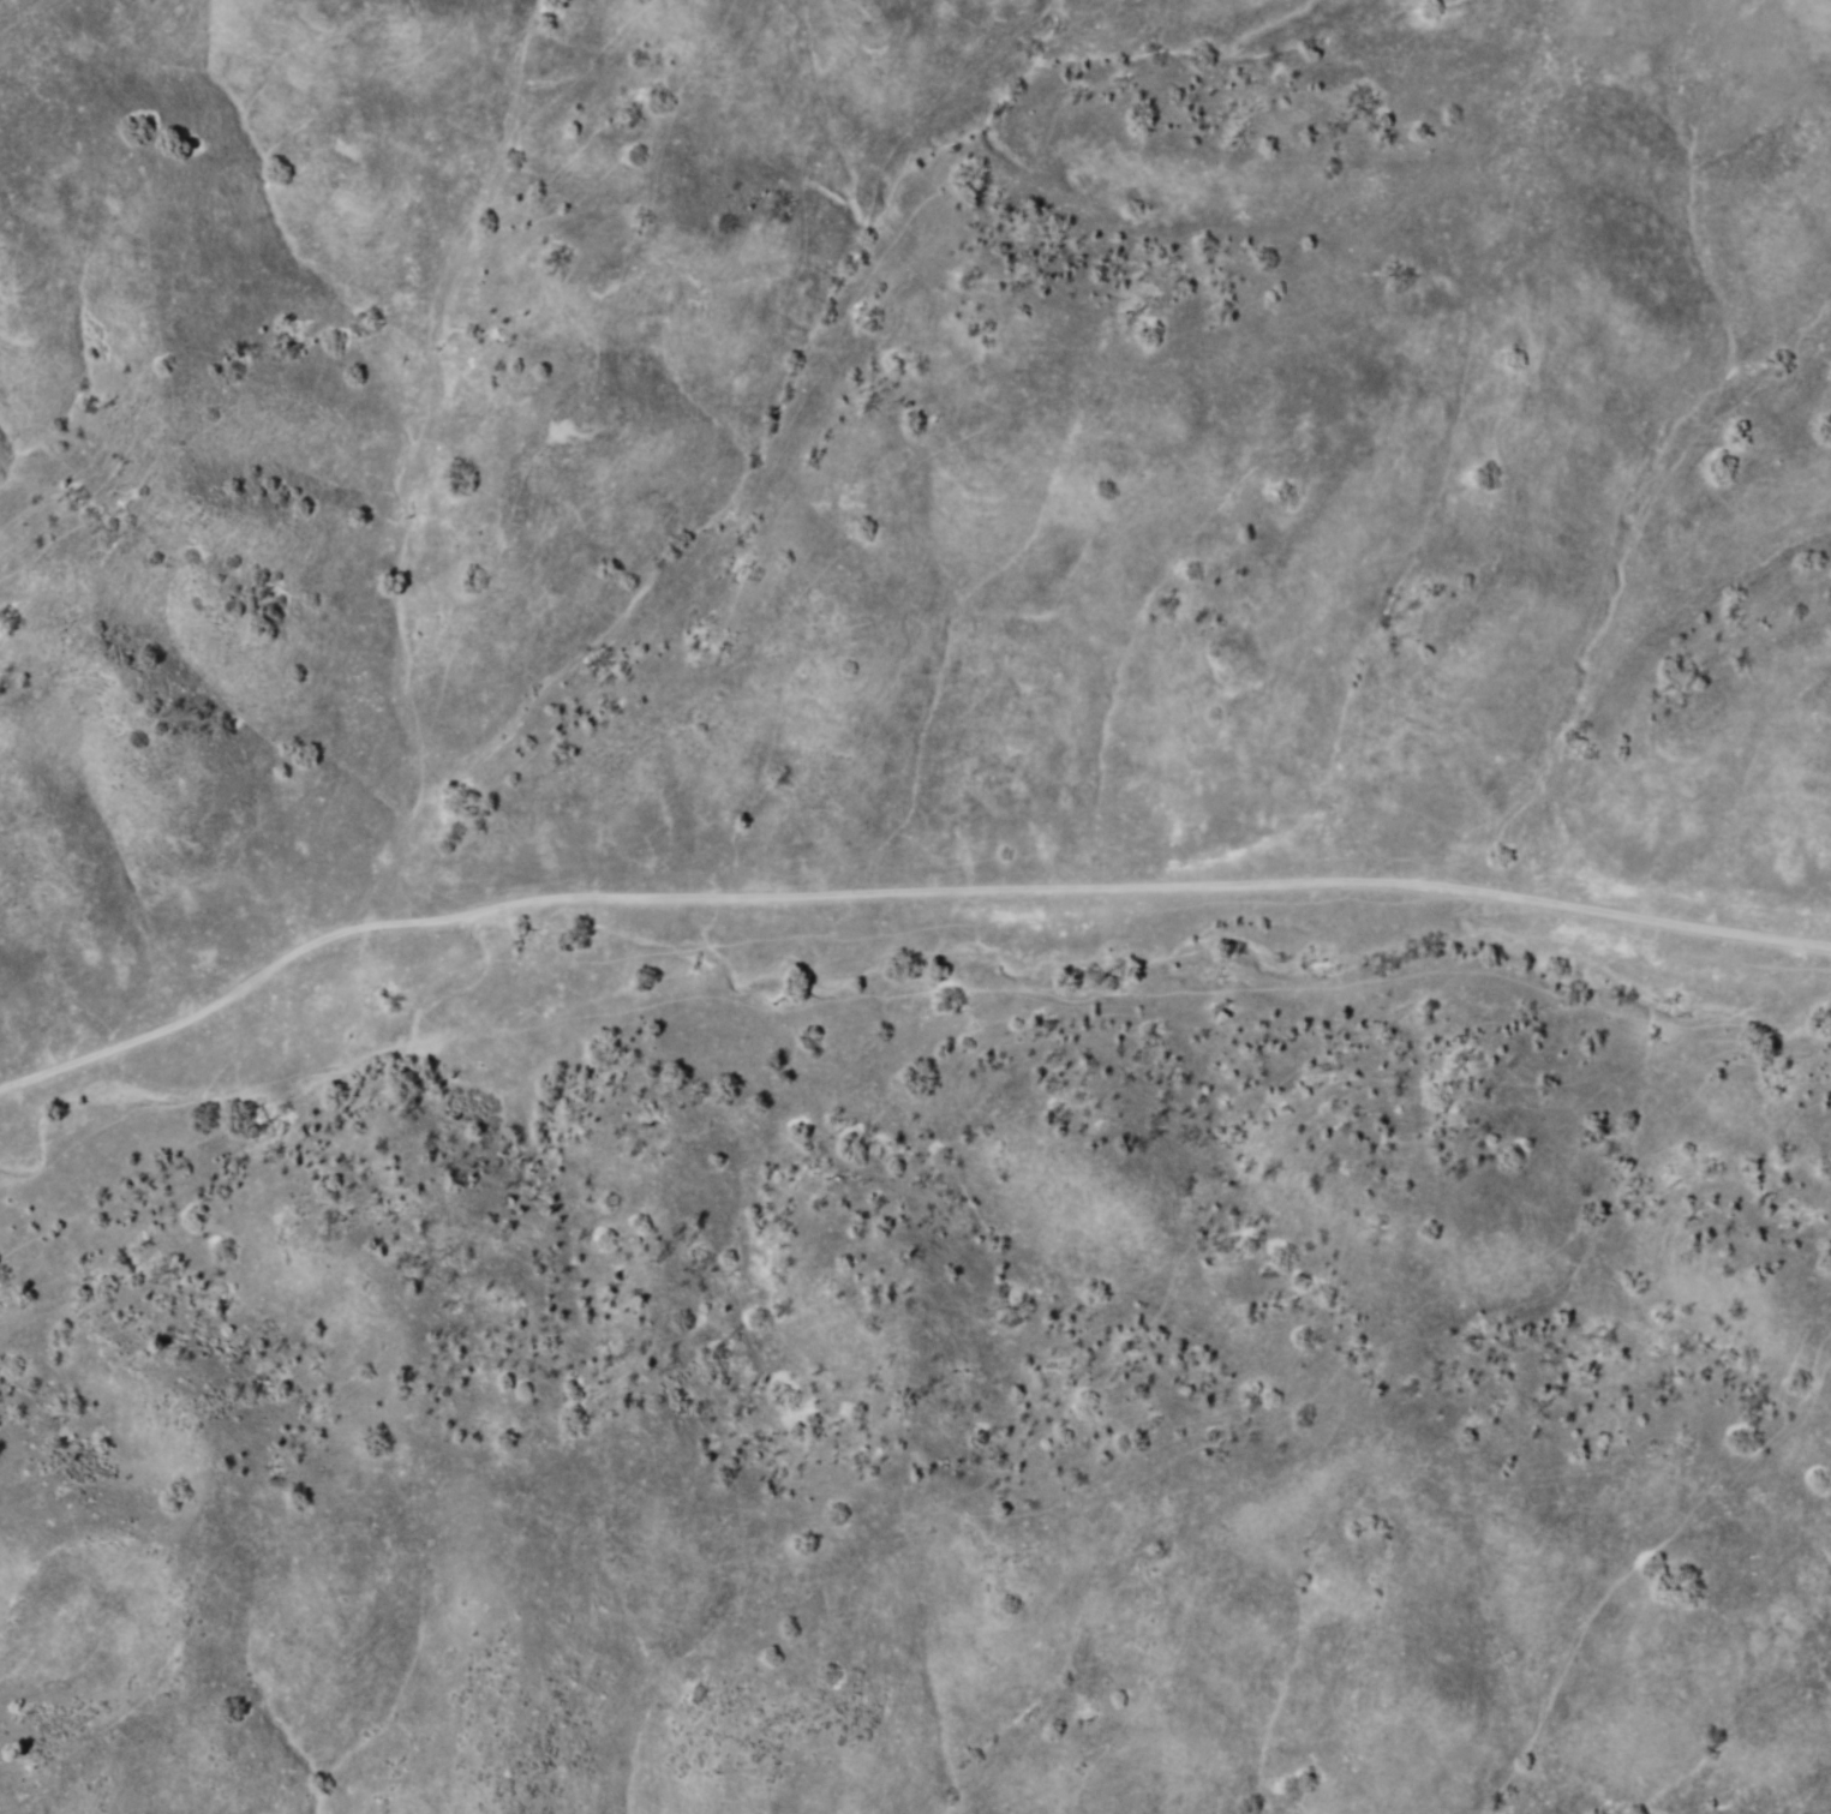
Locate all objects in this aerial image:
road: (896, 892)

